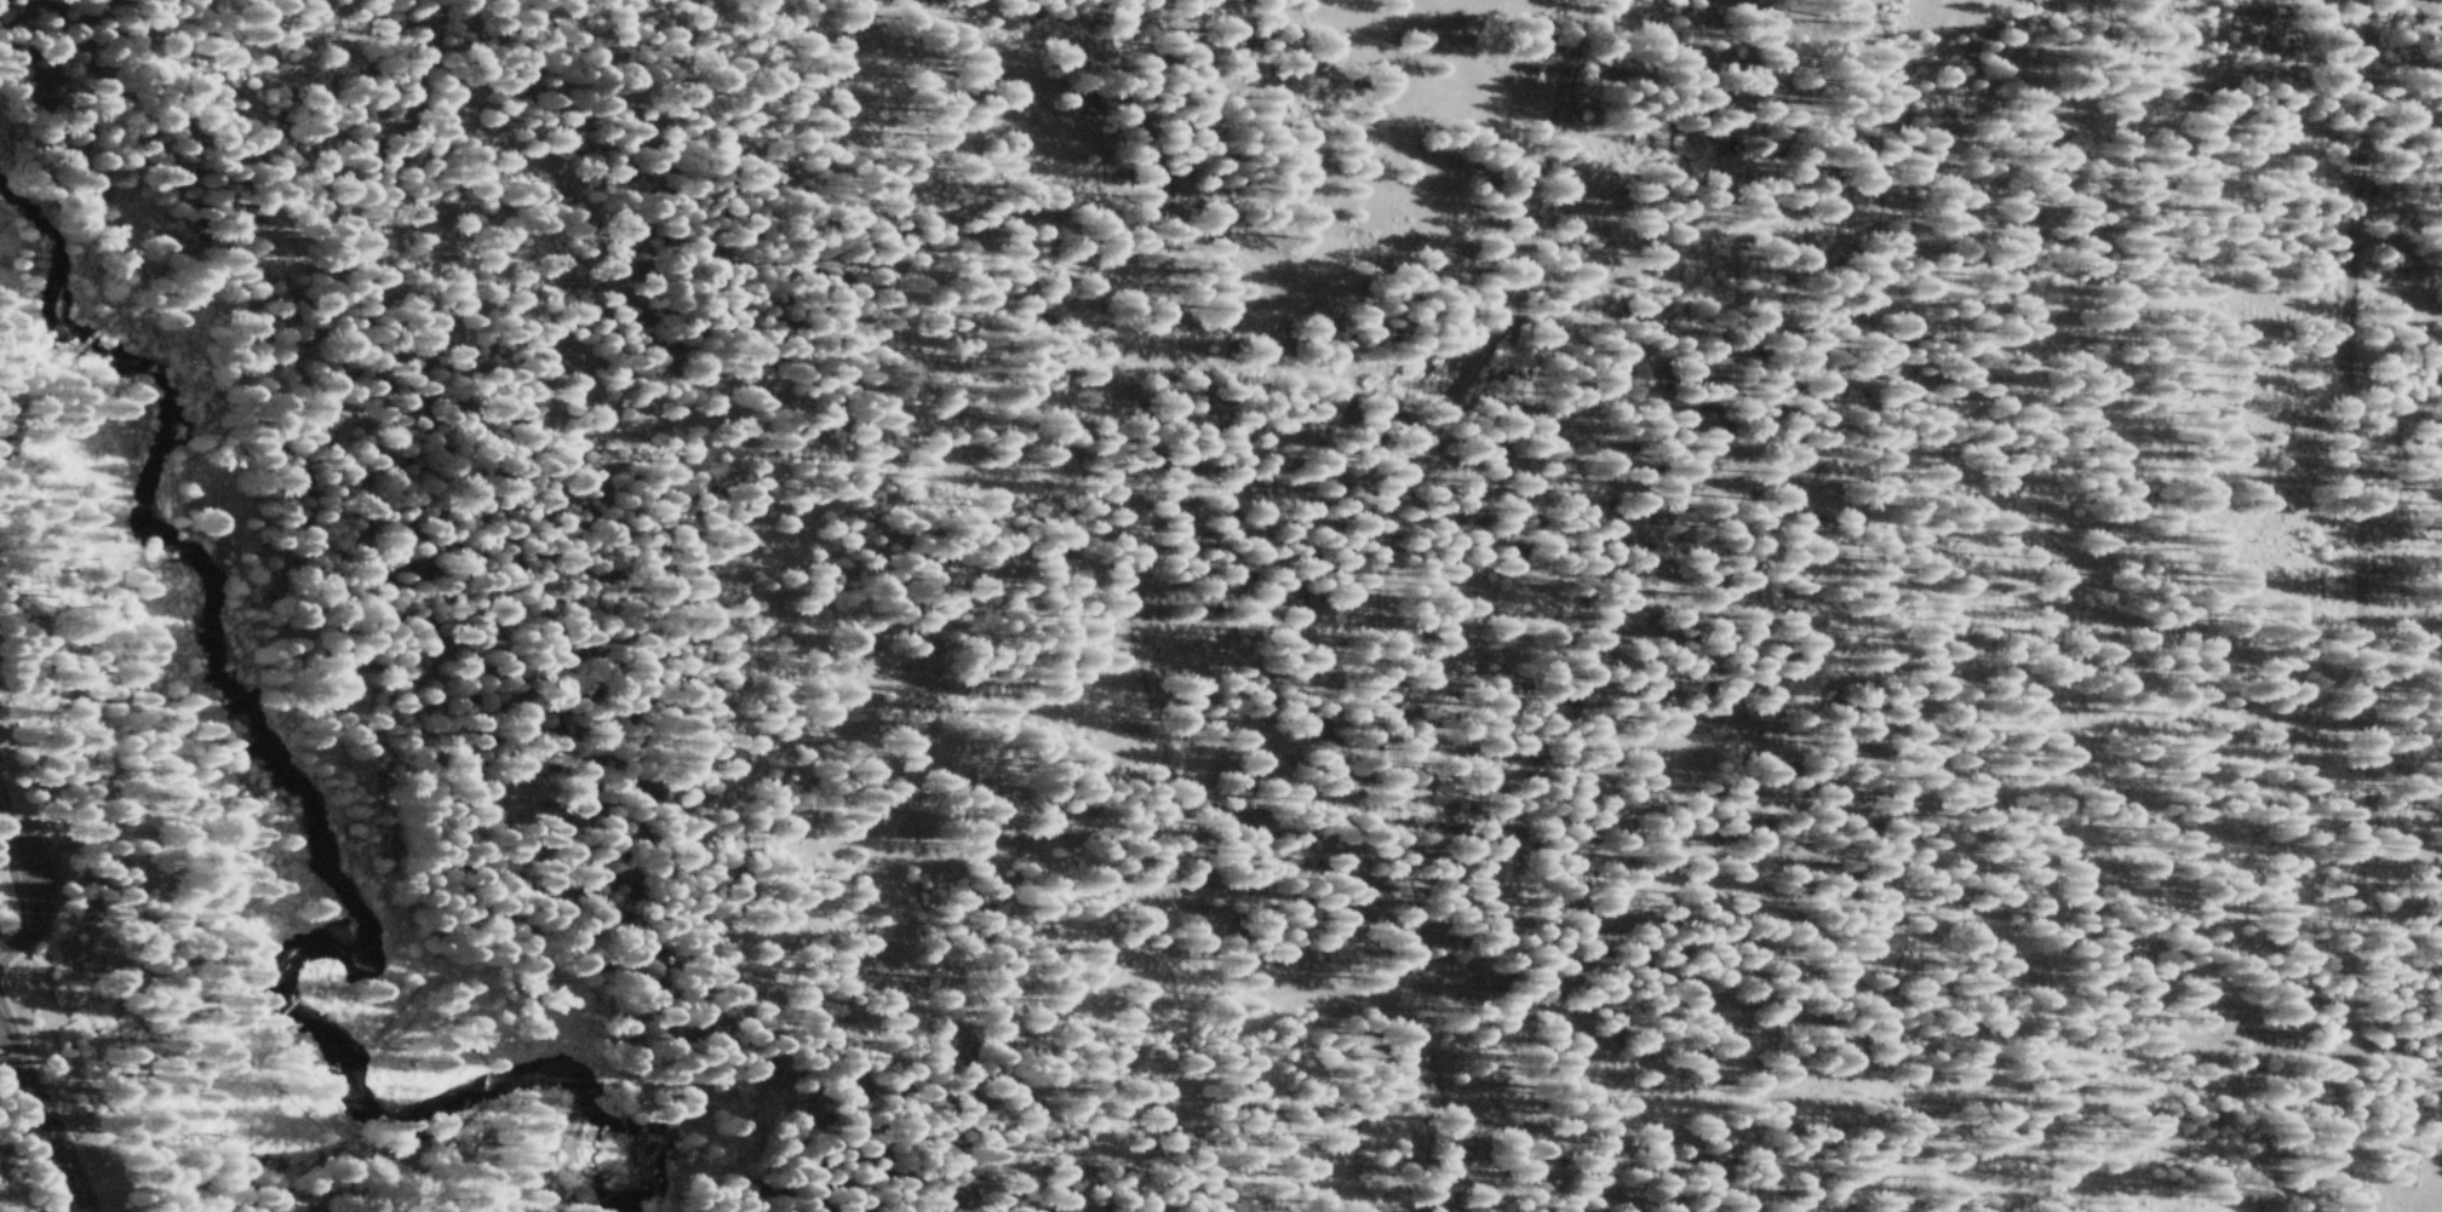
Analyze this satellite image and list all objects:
road: (19, 879)
road: (46, 1120)

